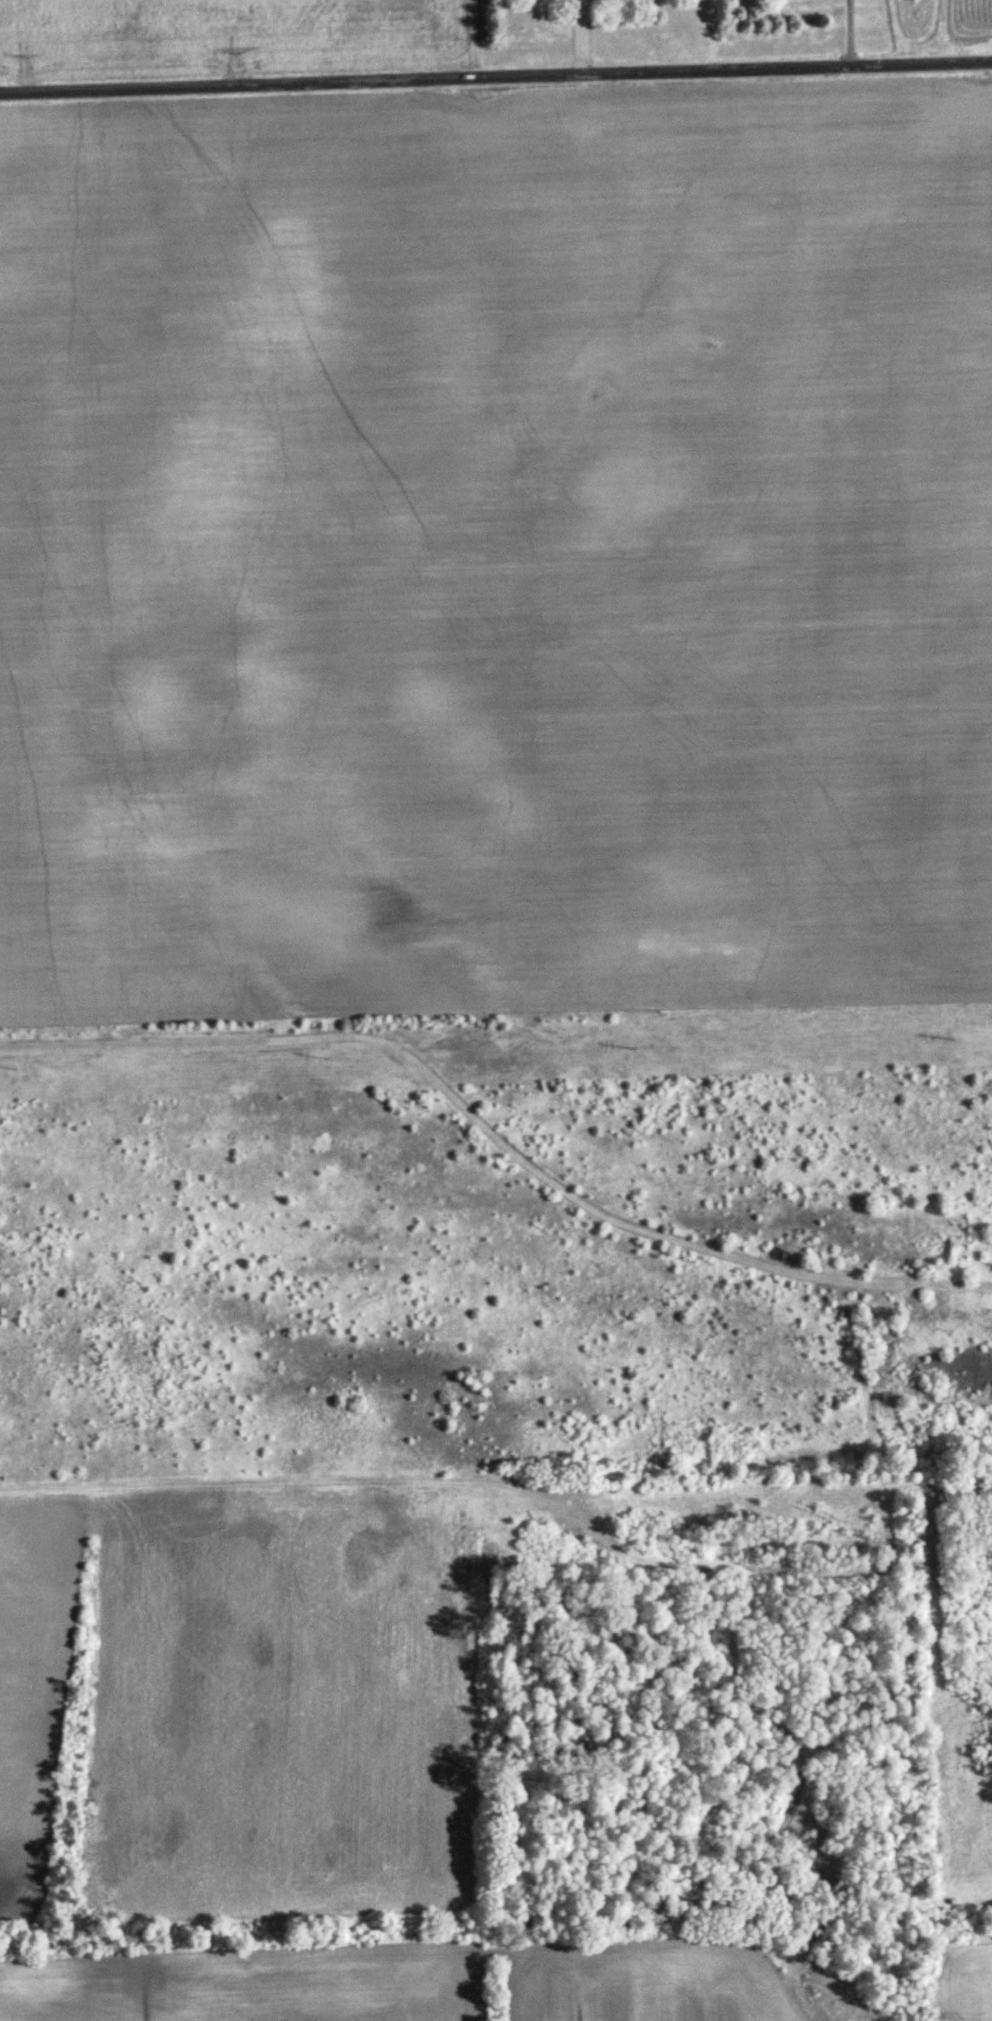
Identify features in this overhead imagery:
road: (851, 33)
road: (576, 38)
road: (495, 78)

